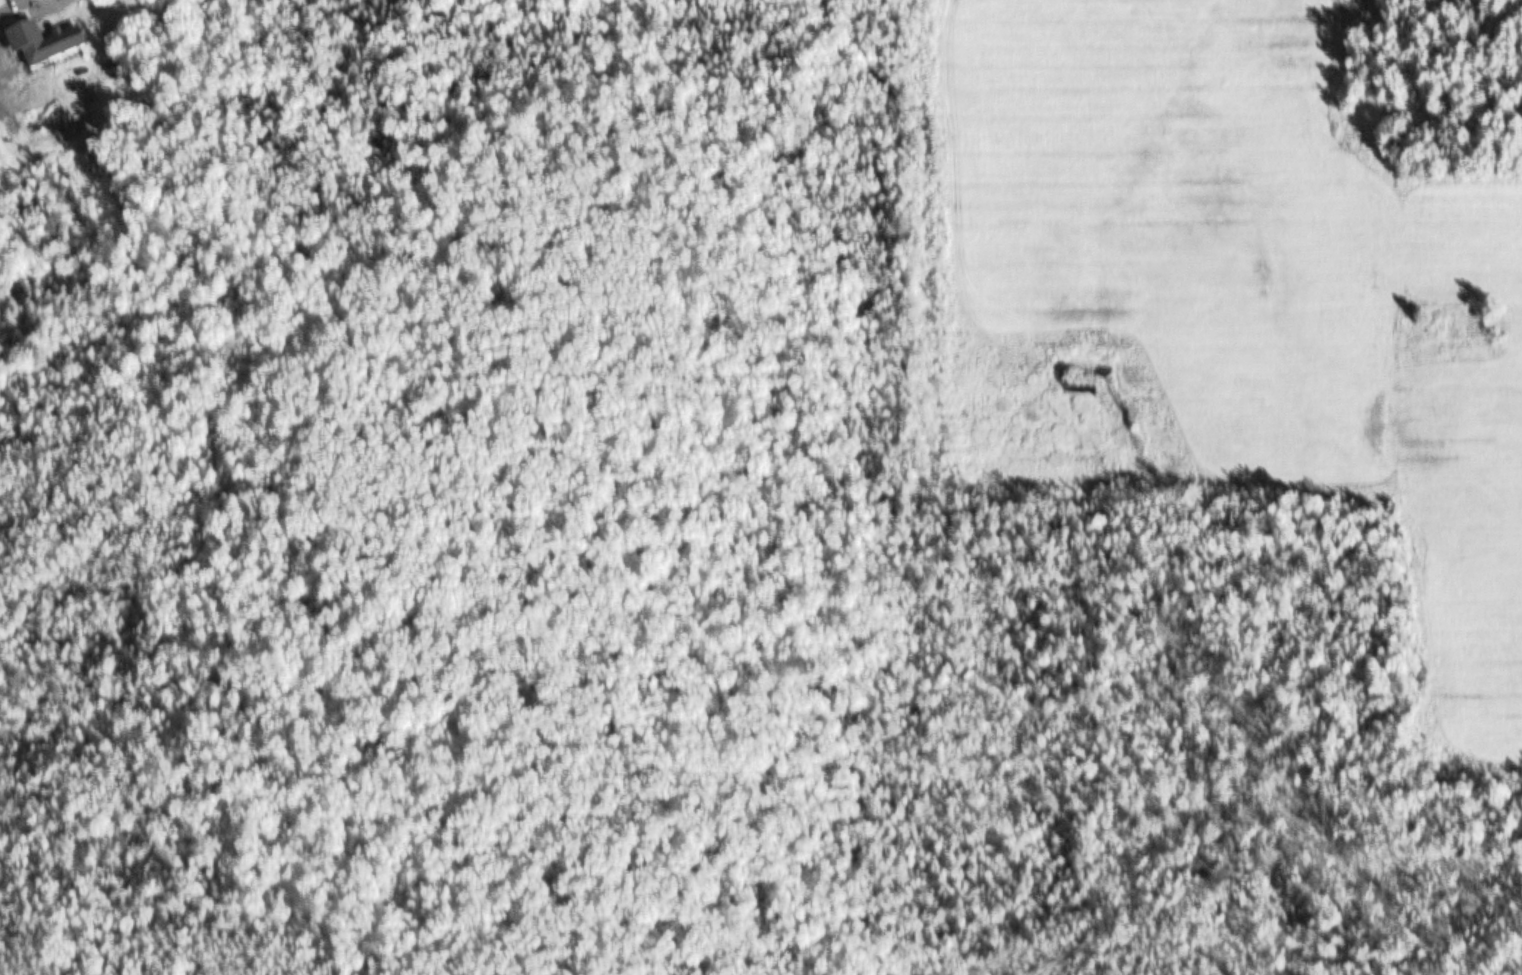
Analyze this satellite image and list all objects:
building: (55, 47)

